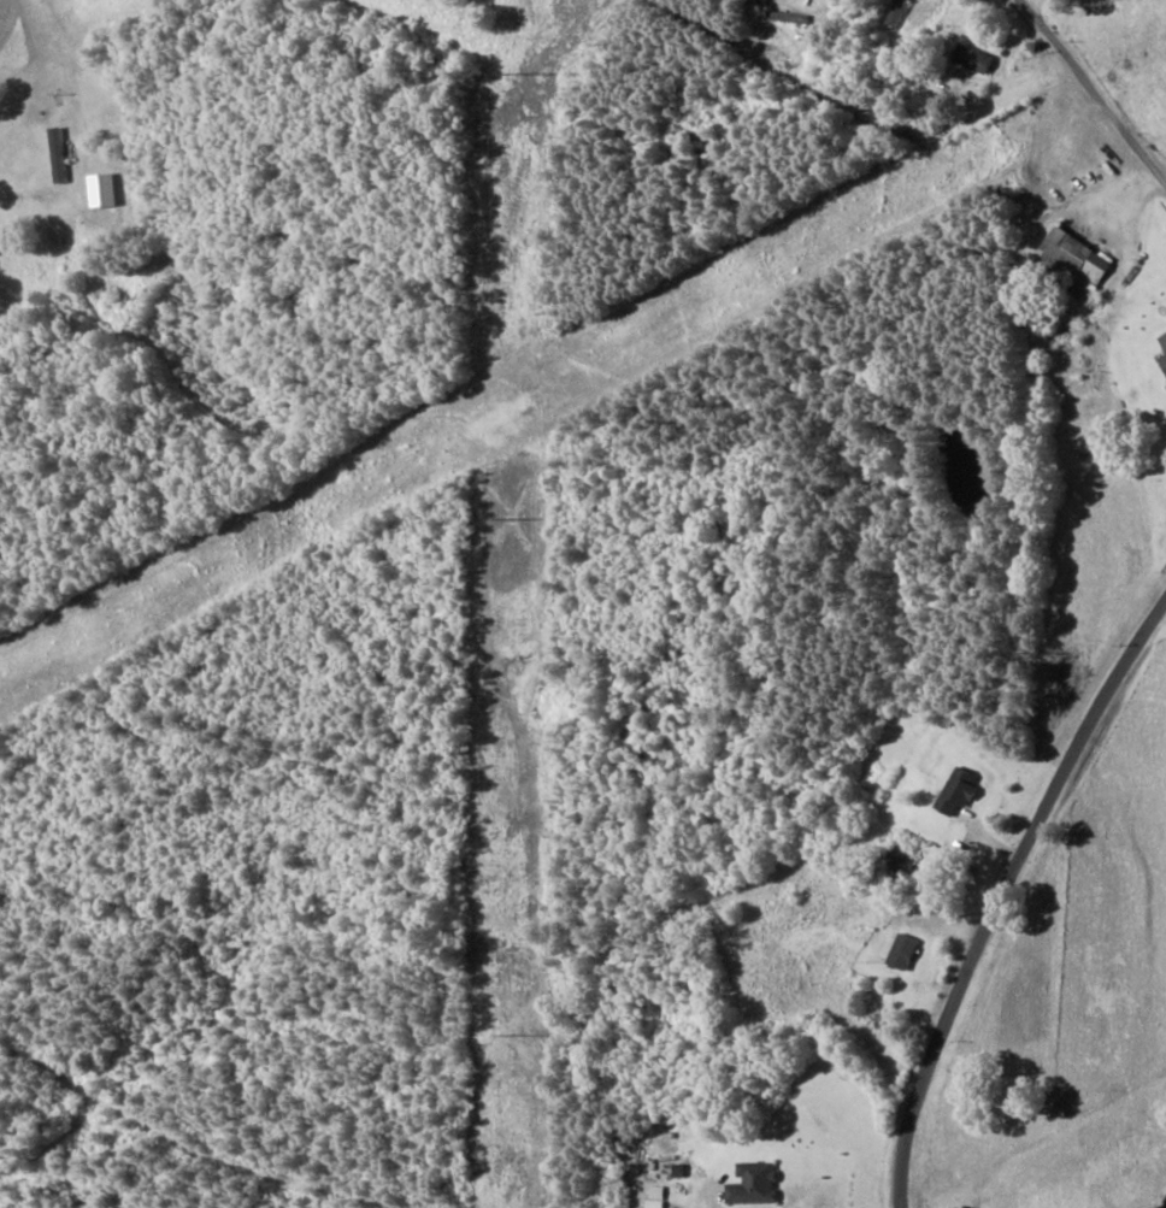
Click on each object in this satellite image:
building: (895, 12)
road: (1107, 52)
building: (970, 58)
building: (1072, 263)
building: (1162, 355)
building: (955, 791)
road: (1007, 919)
building: (900, 951)
building: (752, 1183)

